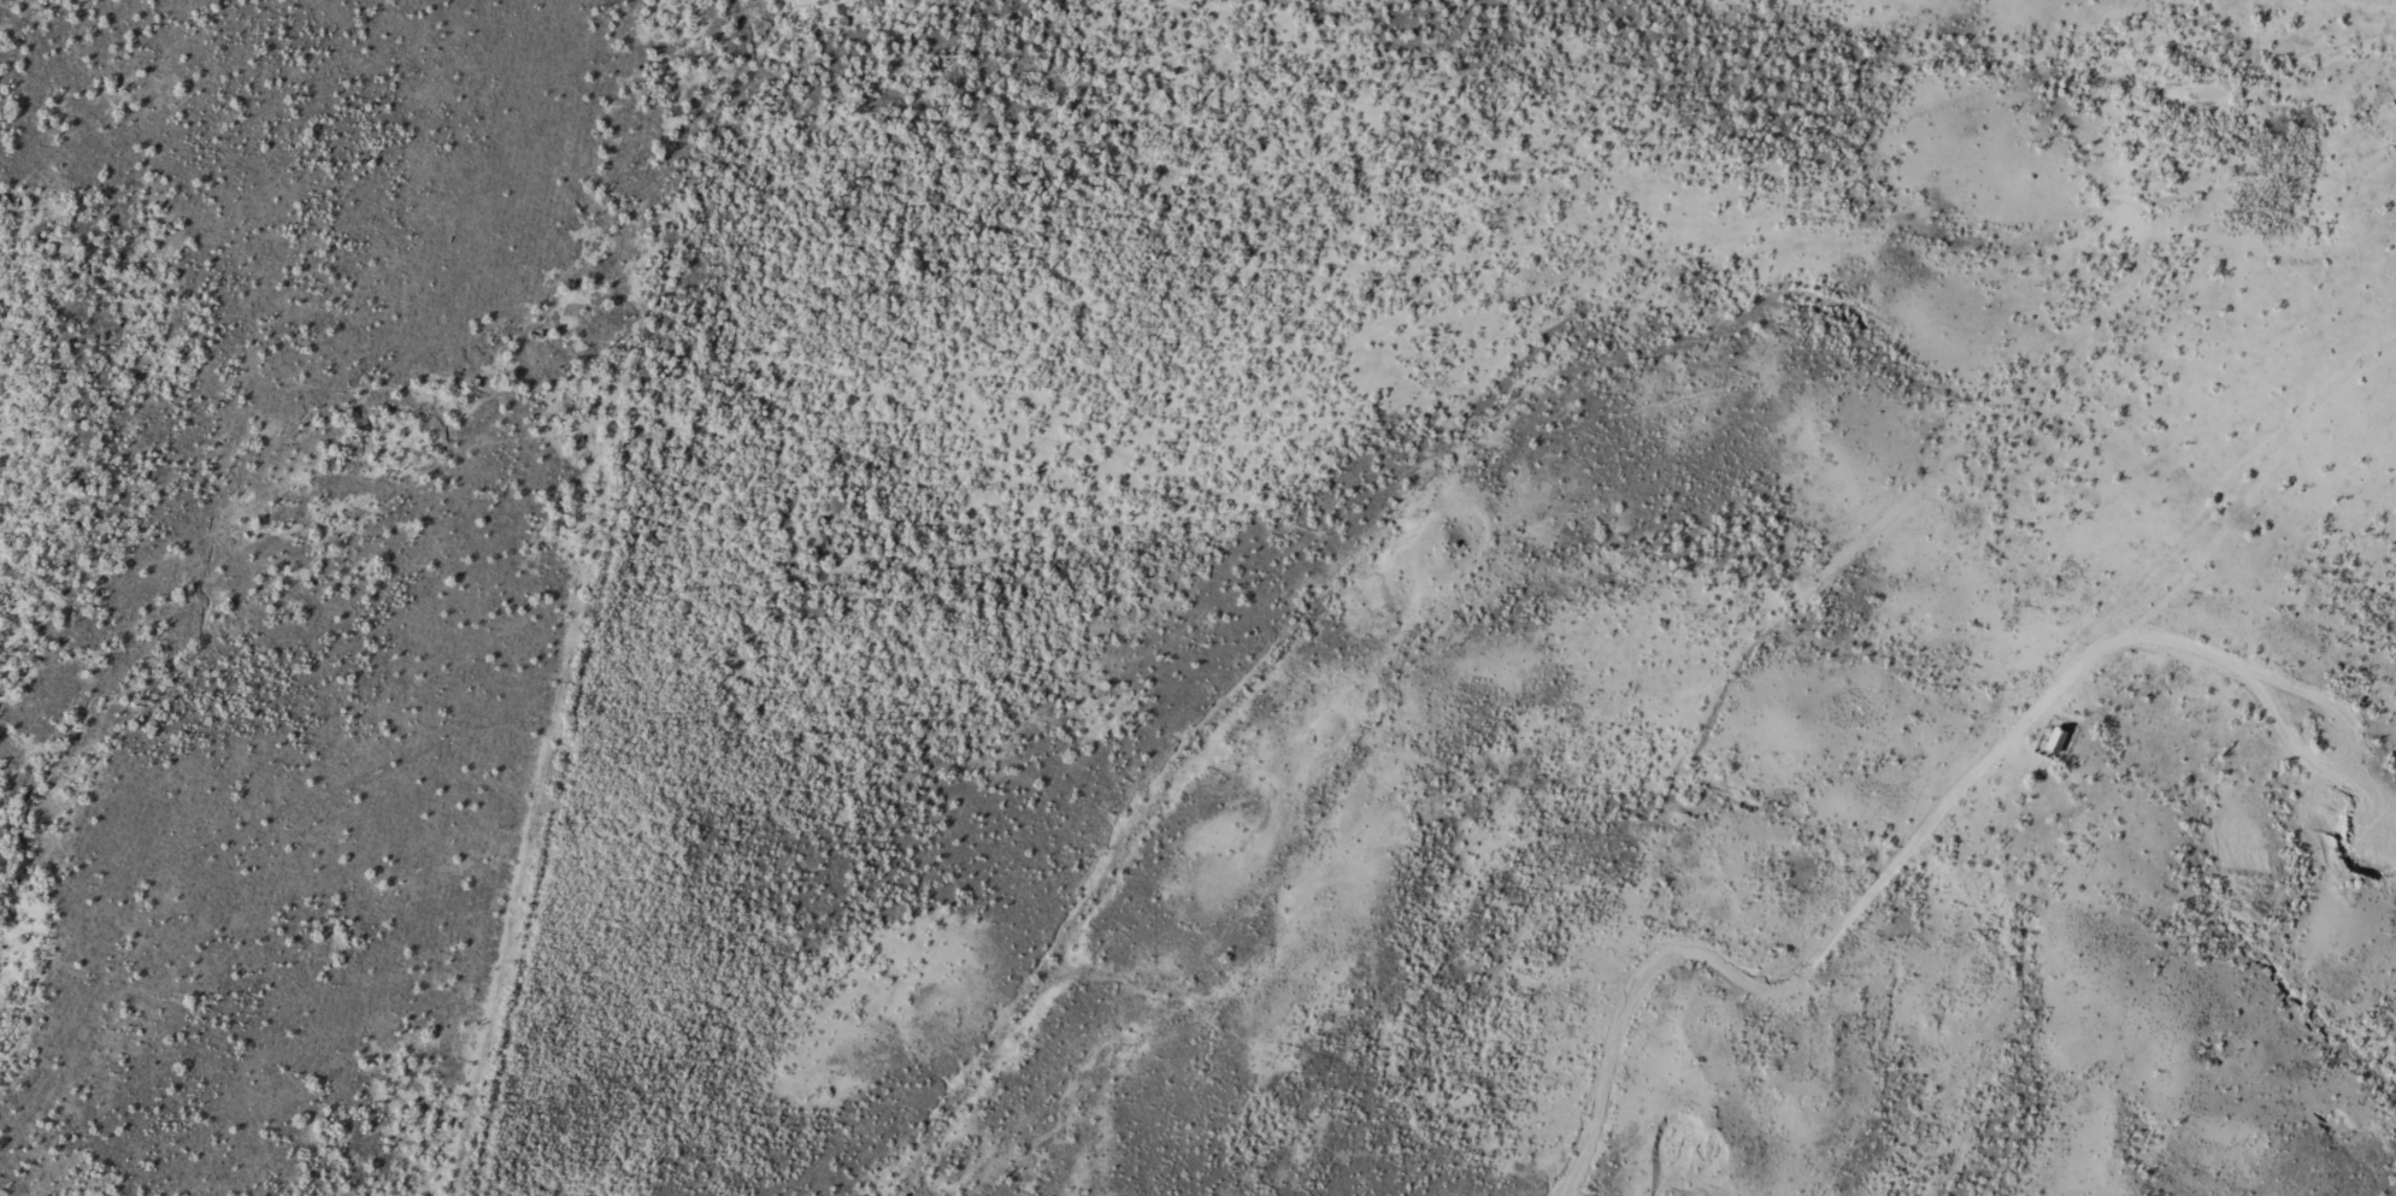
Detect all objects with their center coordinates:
building: (2054, 741)

